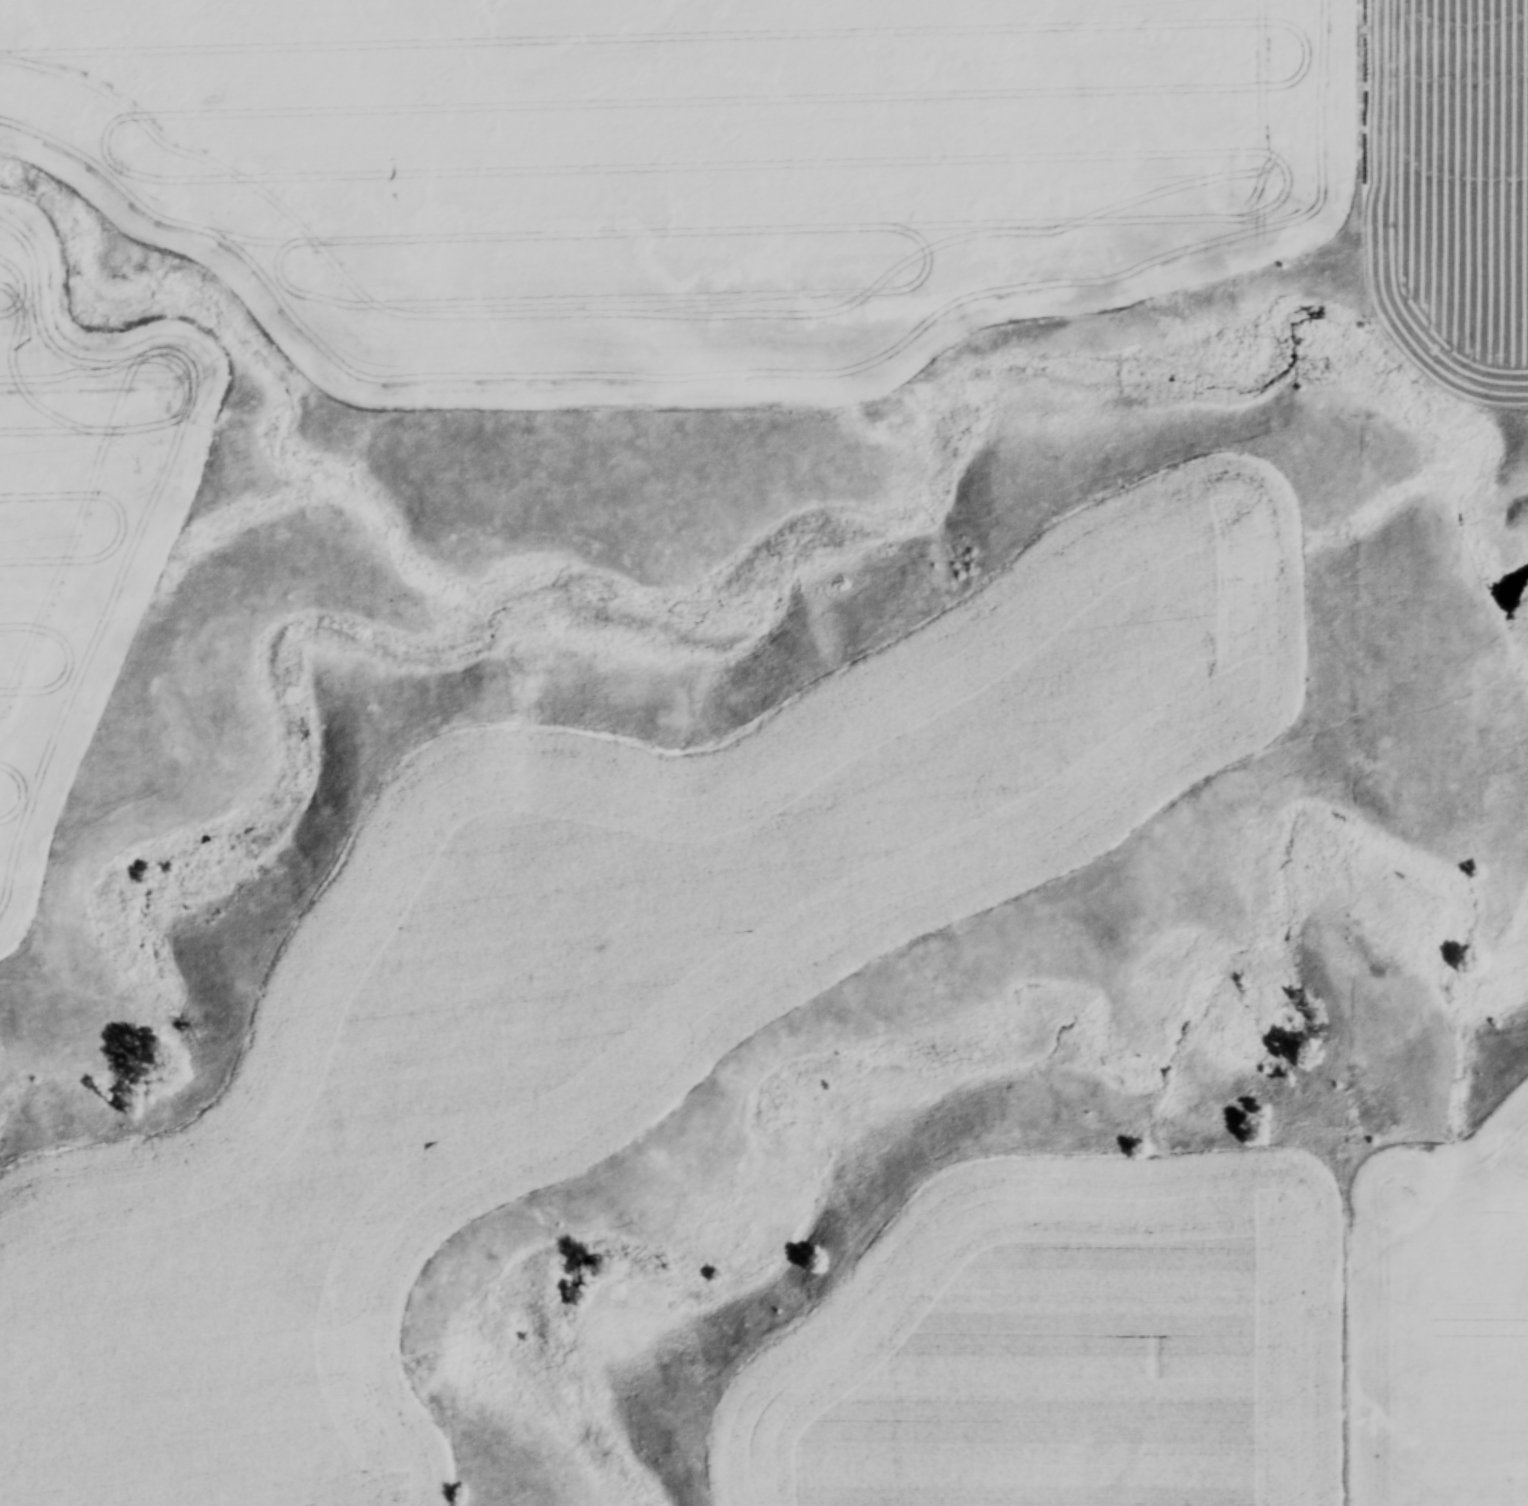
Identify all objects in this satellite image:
river: (1527, 546)

